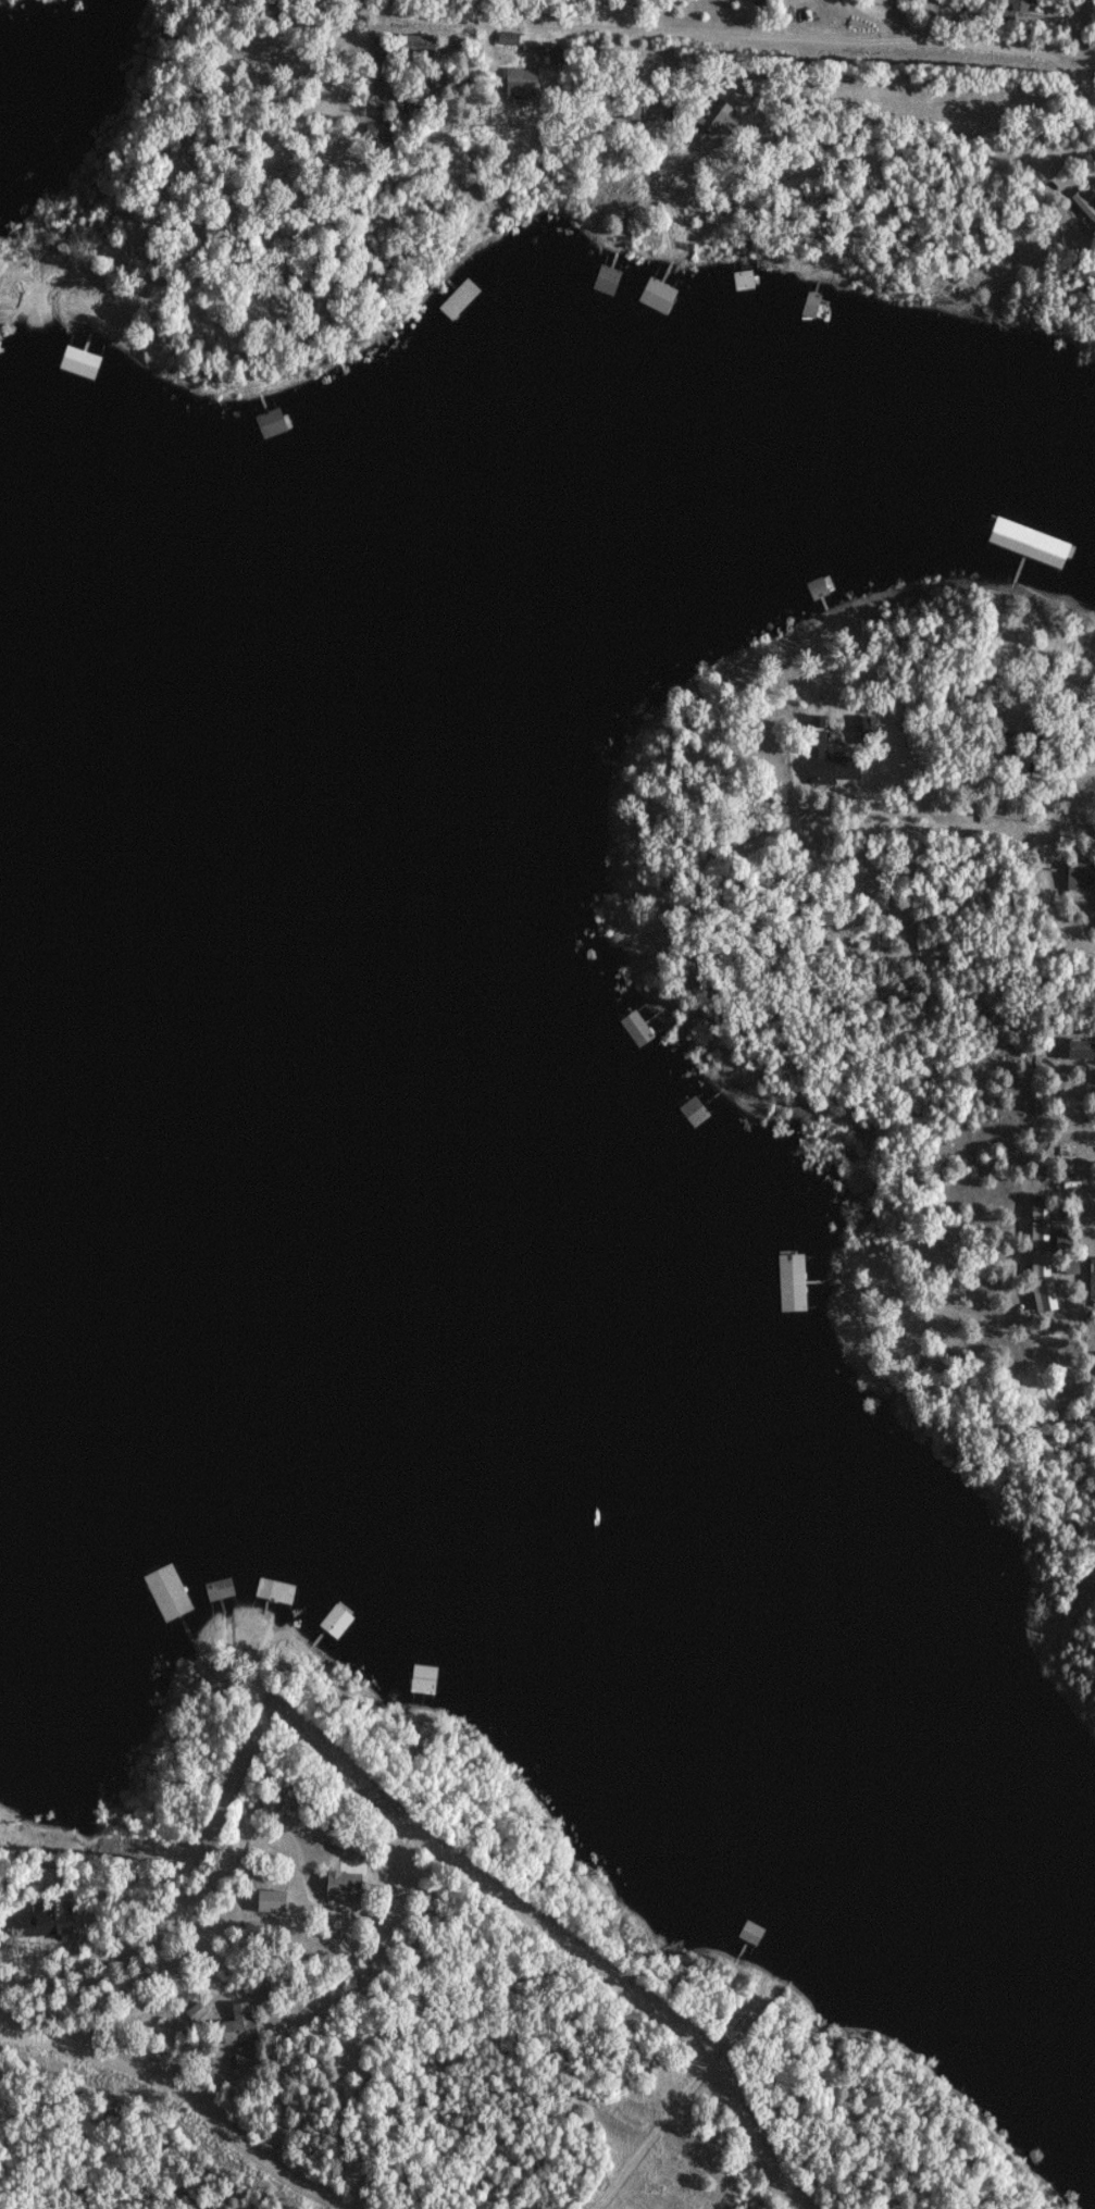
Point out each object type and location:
road: (888, 18)
road: (487, 25)
road: (1082, 60)
road: (320, 63)
building: (522, 79)
building: (725, 115)
road: (961, 151)
road: (654, 160)
road: (870, 166)
building: (610, 270)
building: (716, 277)
building: (668, 284)
building: (802, 289)
road: (47, 318)
building: (74, 334)
building: (266, 410)
building: (823, 599)
building: (834, 767)
road: (1058, 789)
road: (1068, 812)
road: (846, 829)
road: (1048, 897)
building: (639, 1020)
building: (1082, 1048)
building: (713, 1095)
building: (802, 1274)
building: (1093, 1276)
building: (1043, 1296)
building: (215, 1606)
building: (175, 1615)
building: (323, 1628)
road: (232, 1653)
road: (258, 1666)
road: (216, 1670)
road: (266, 1838)
building: (345, 1884)
road: (195, 1894)
building: (272, 1898)
building: (48, 1918)
building: (779, 1954)
building: (239, 2023)
road: (186, 2094)

